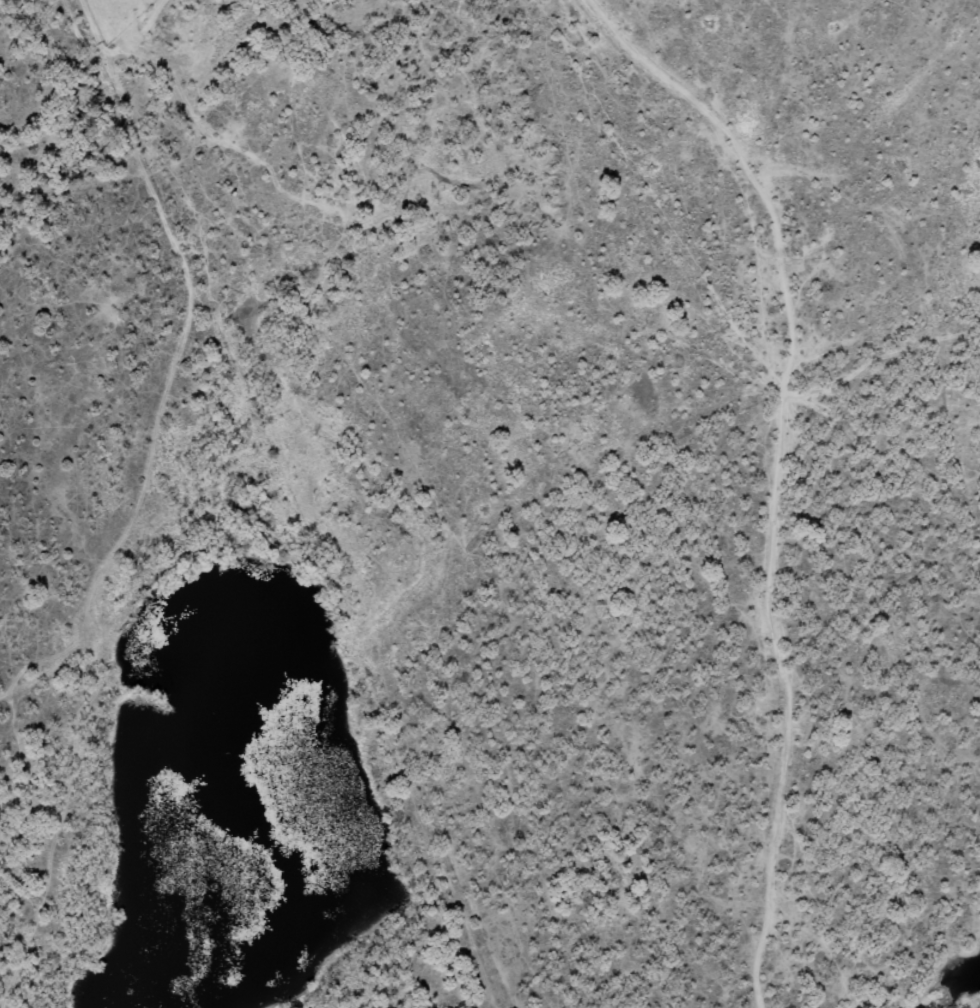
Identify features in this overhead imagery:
road: (821, 472)

